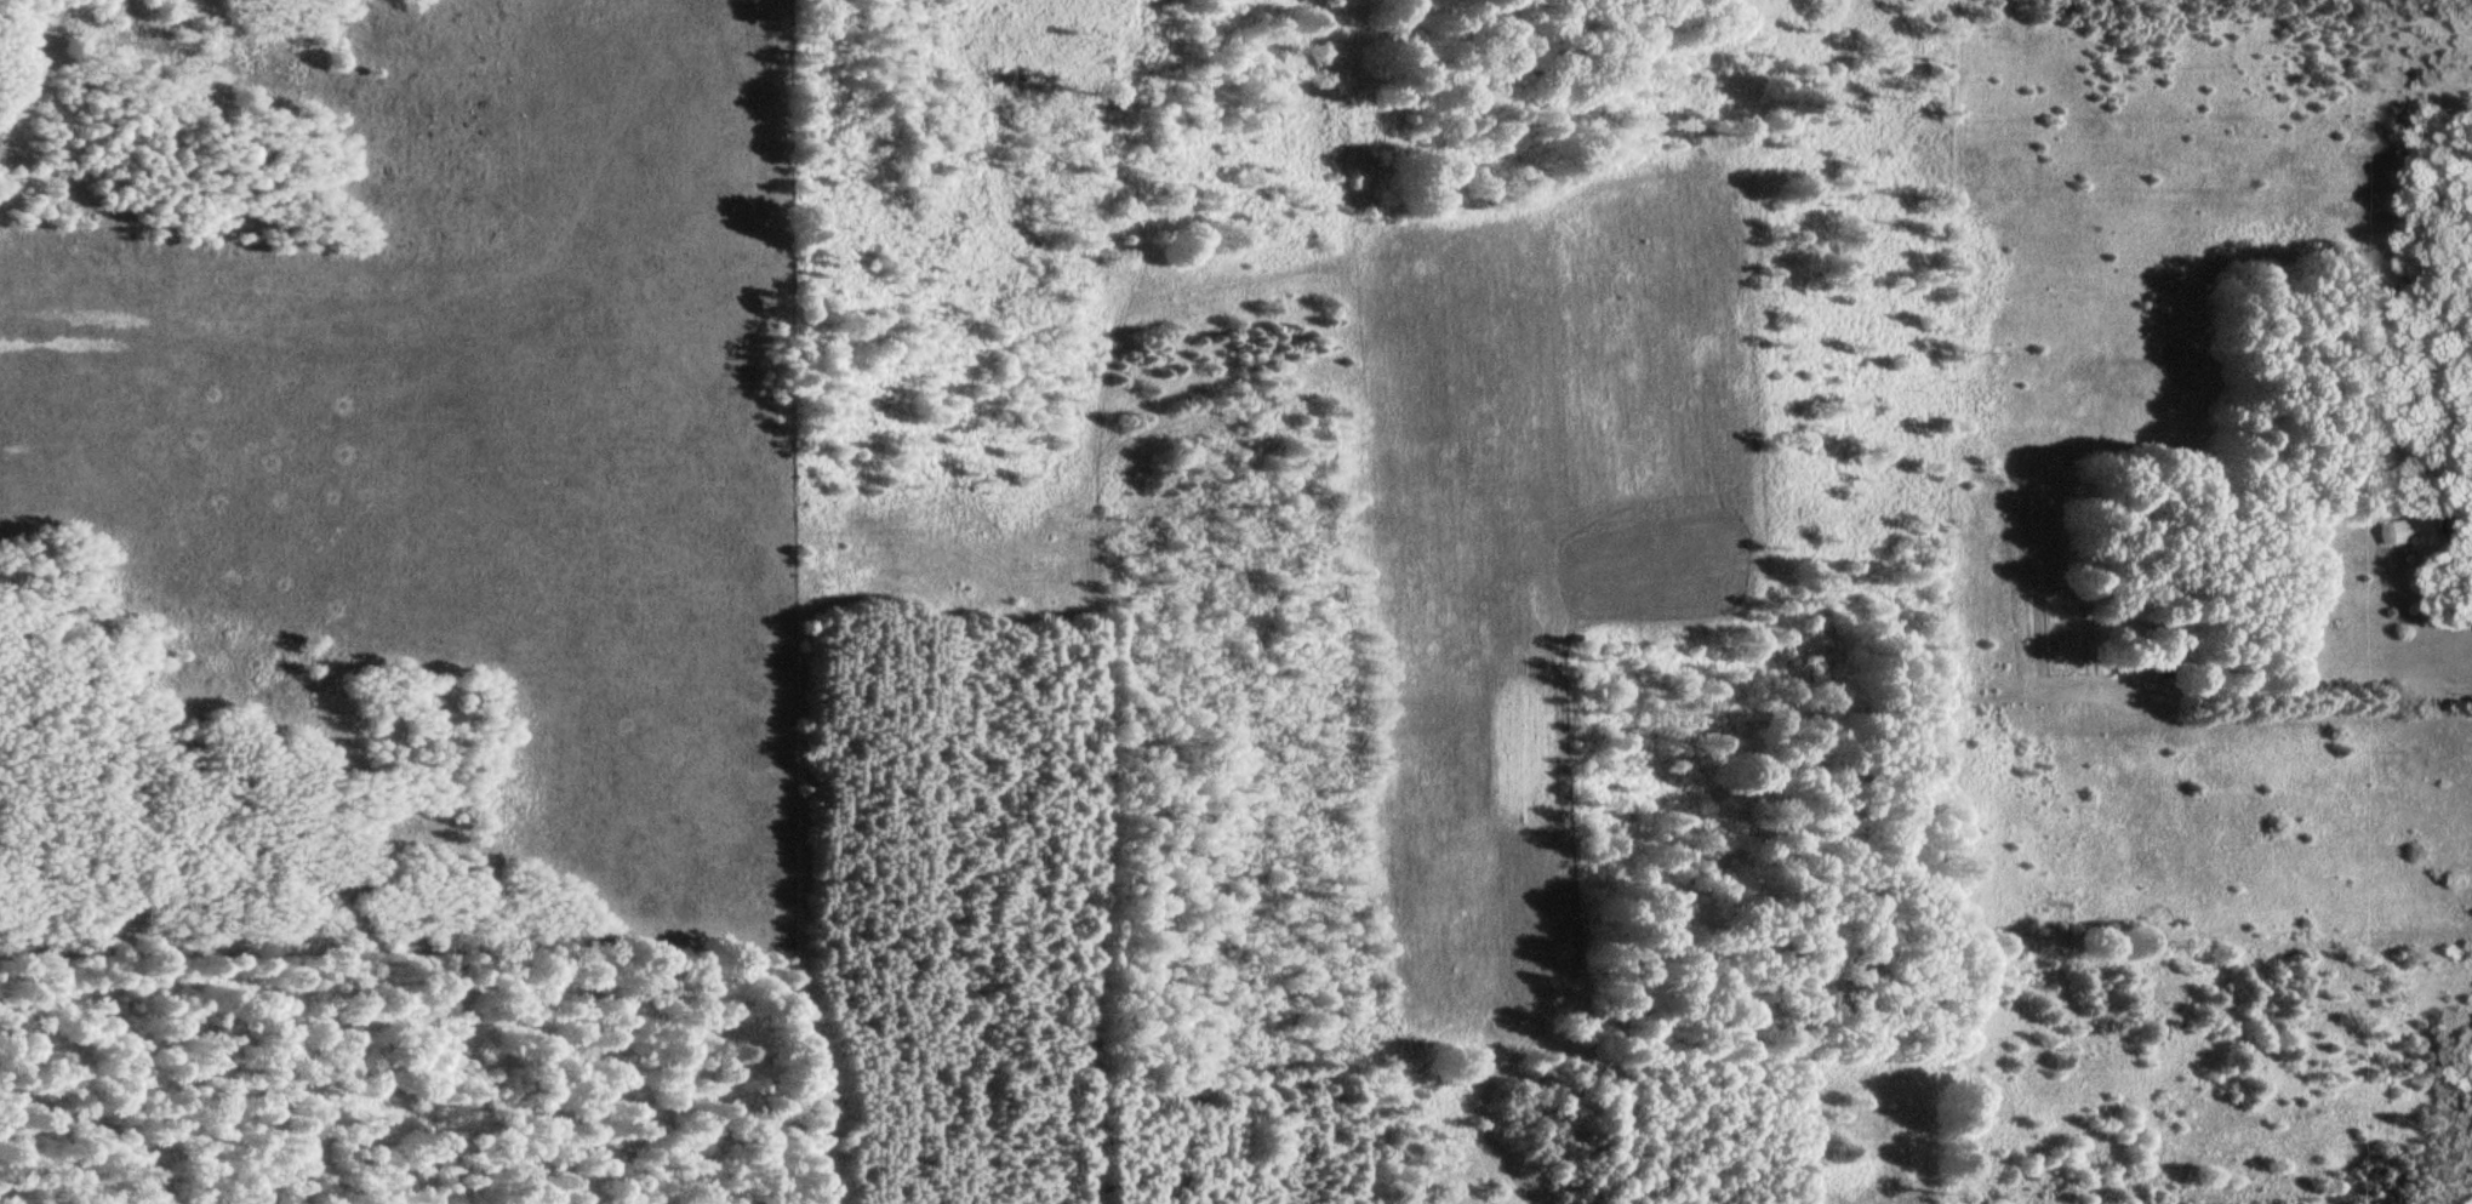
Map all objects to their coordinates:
building: (2408, 533)

